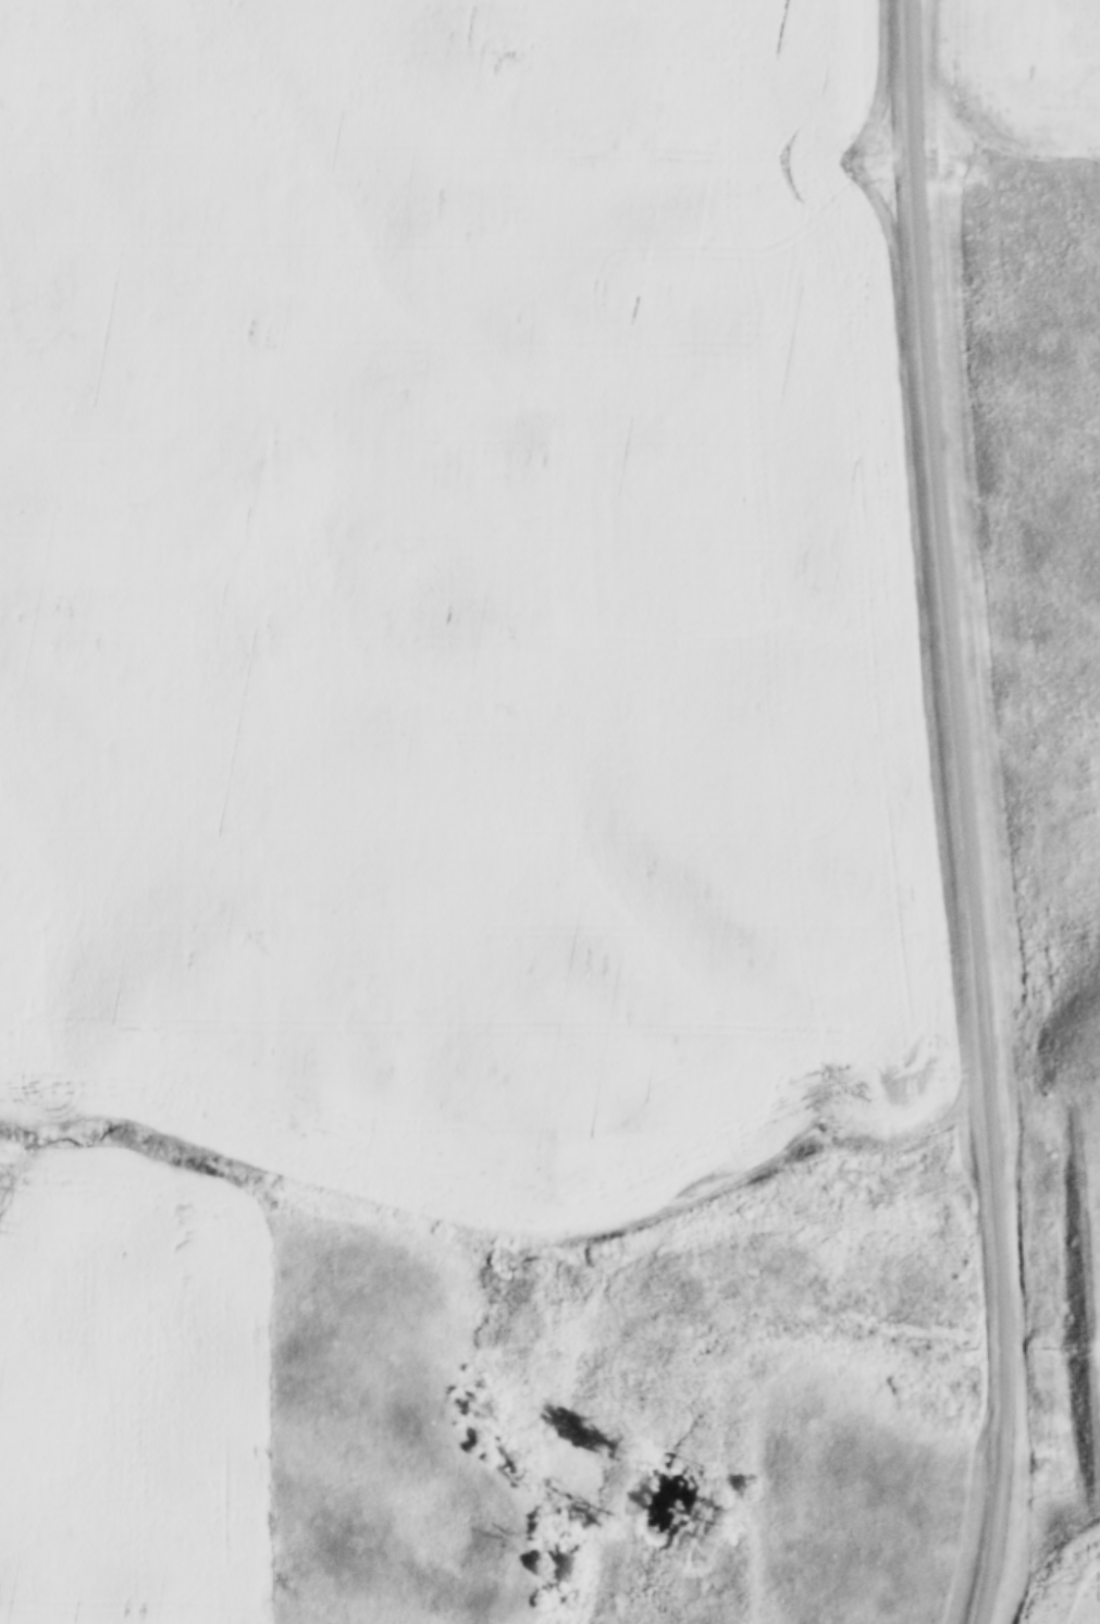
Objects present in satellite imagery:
road: (965, 812)

